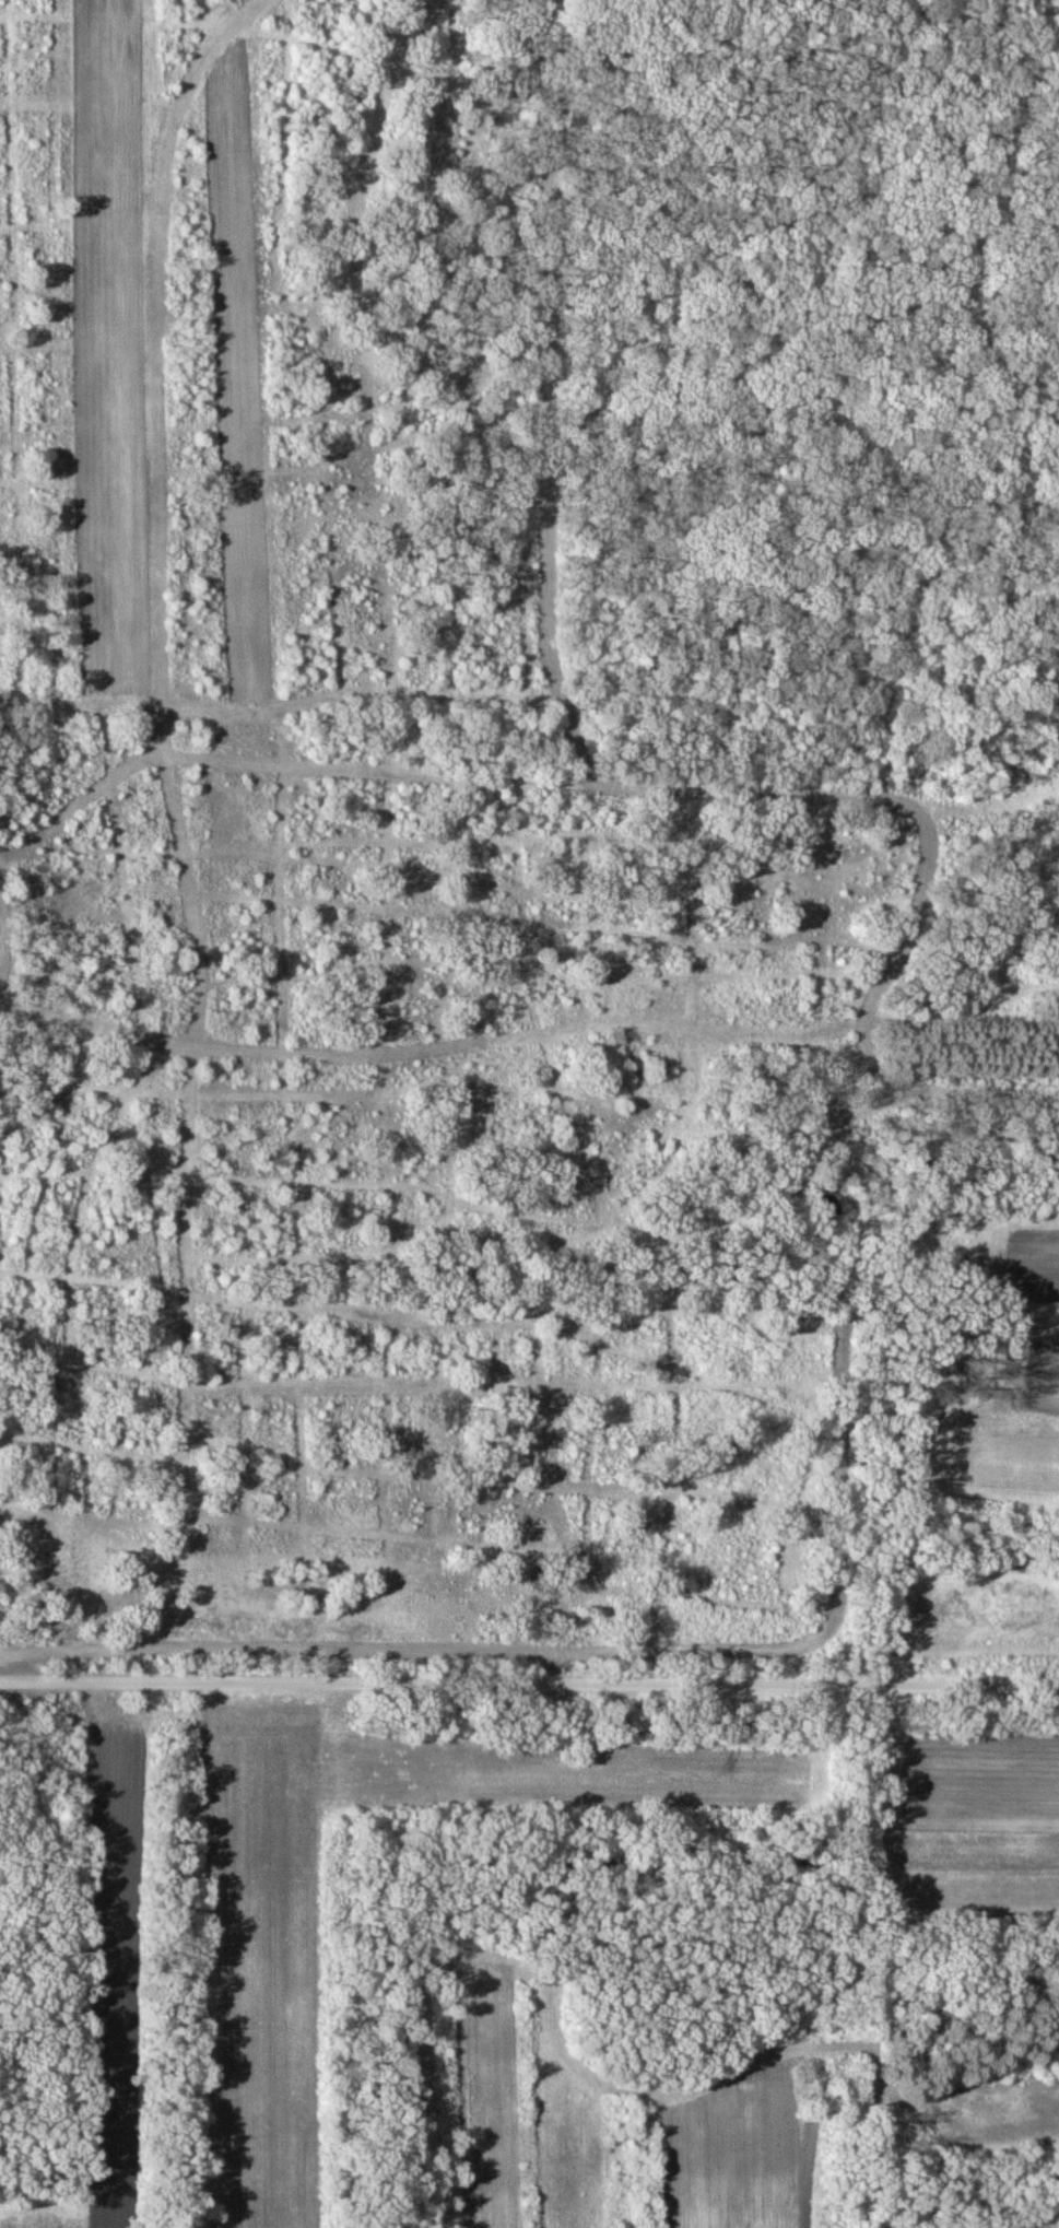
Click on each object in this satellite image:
road: (529, 1681)

